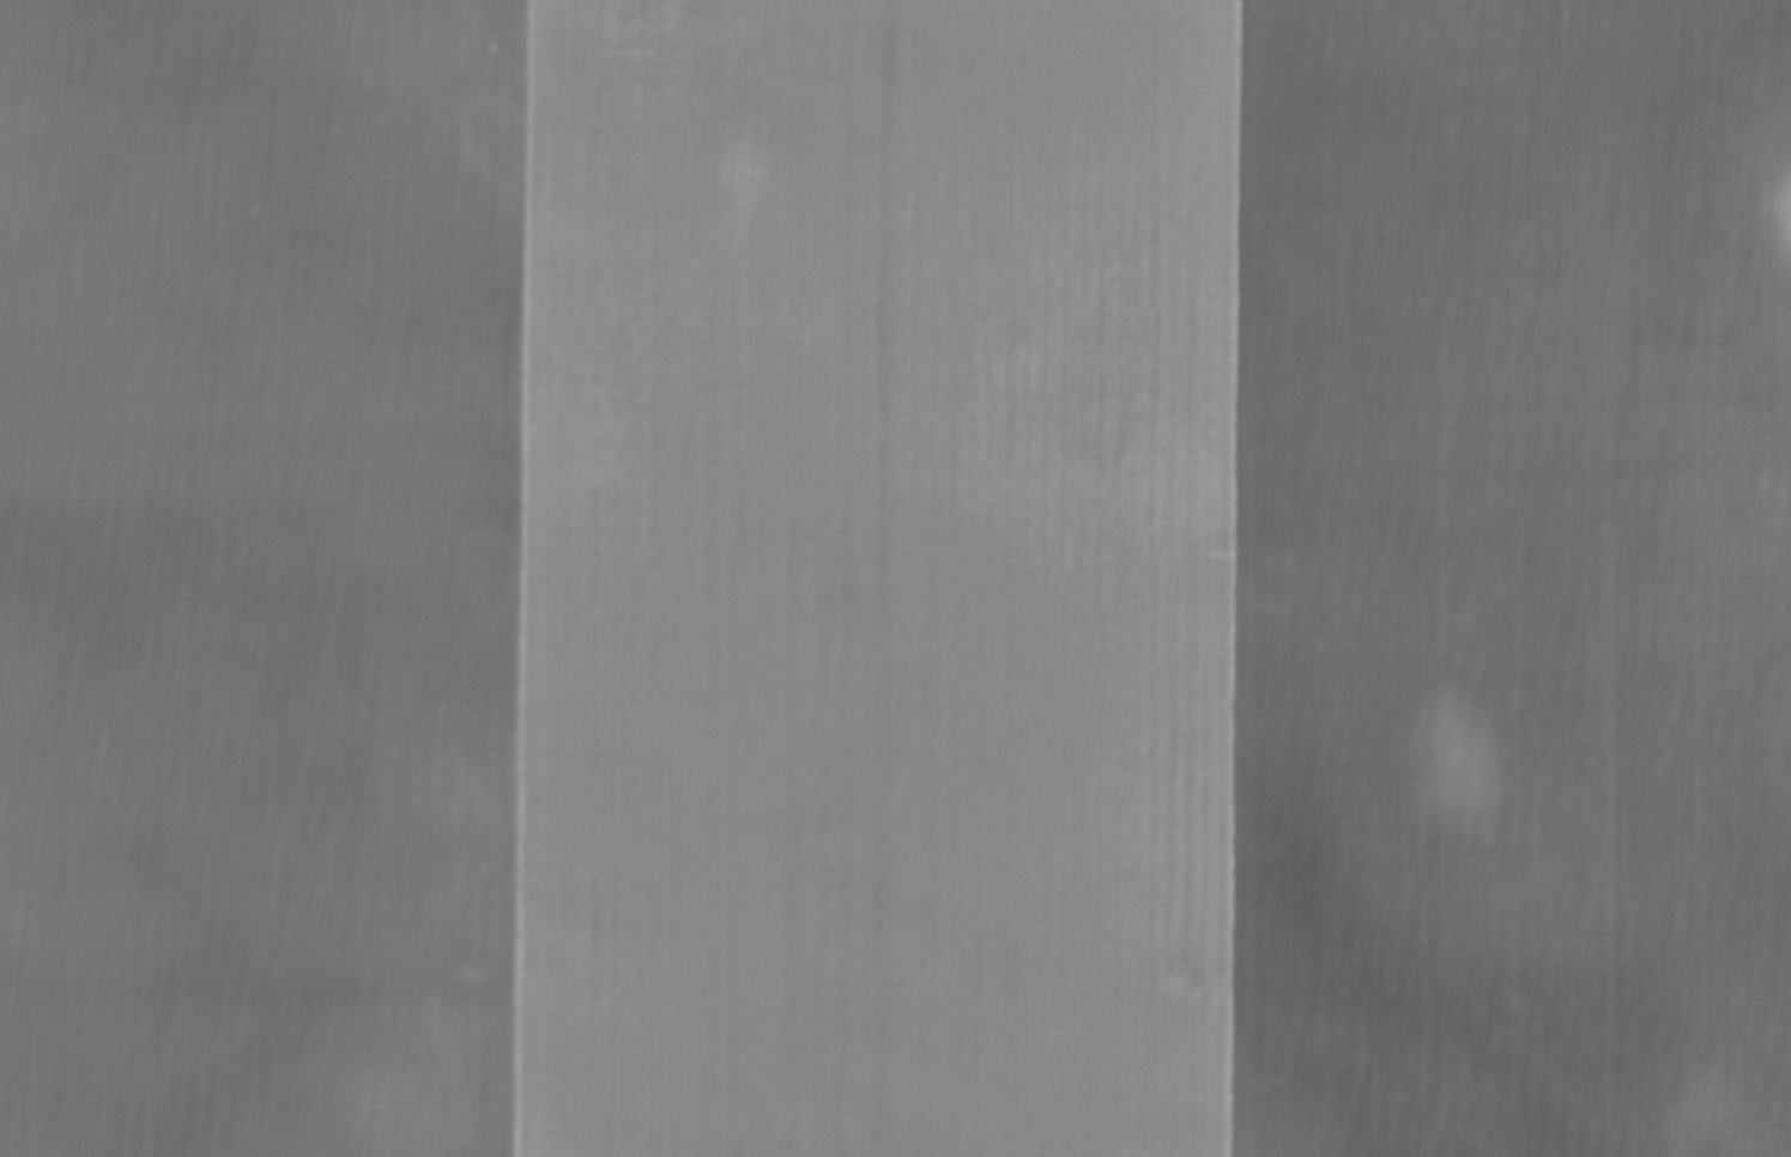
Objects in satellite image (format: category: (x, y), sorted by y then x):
crop: (895, 578)

